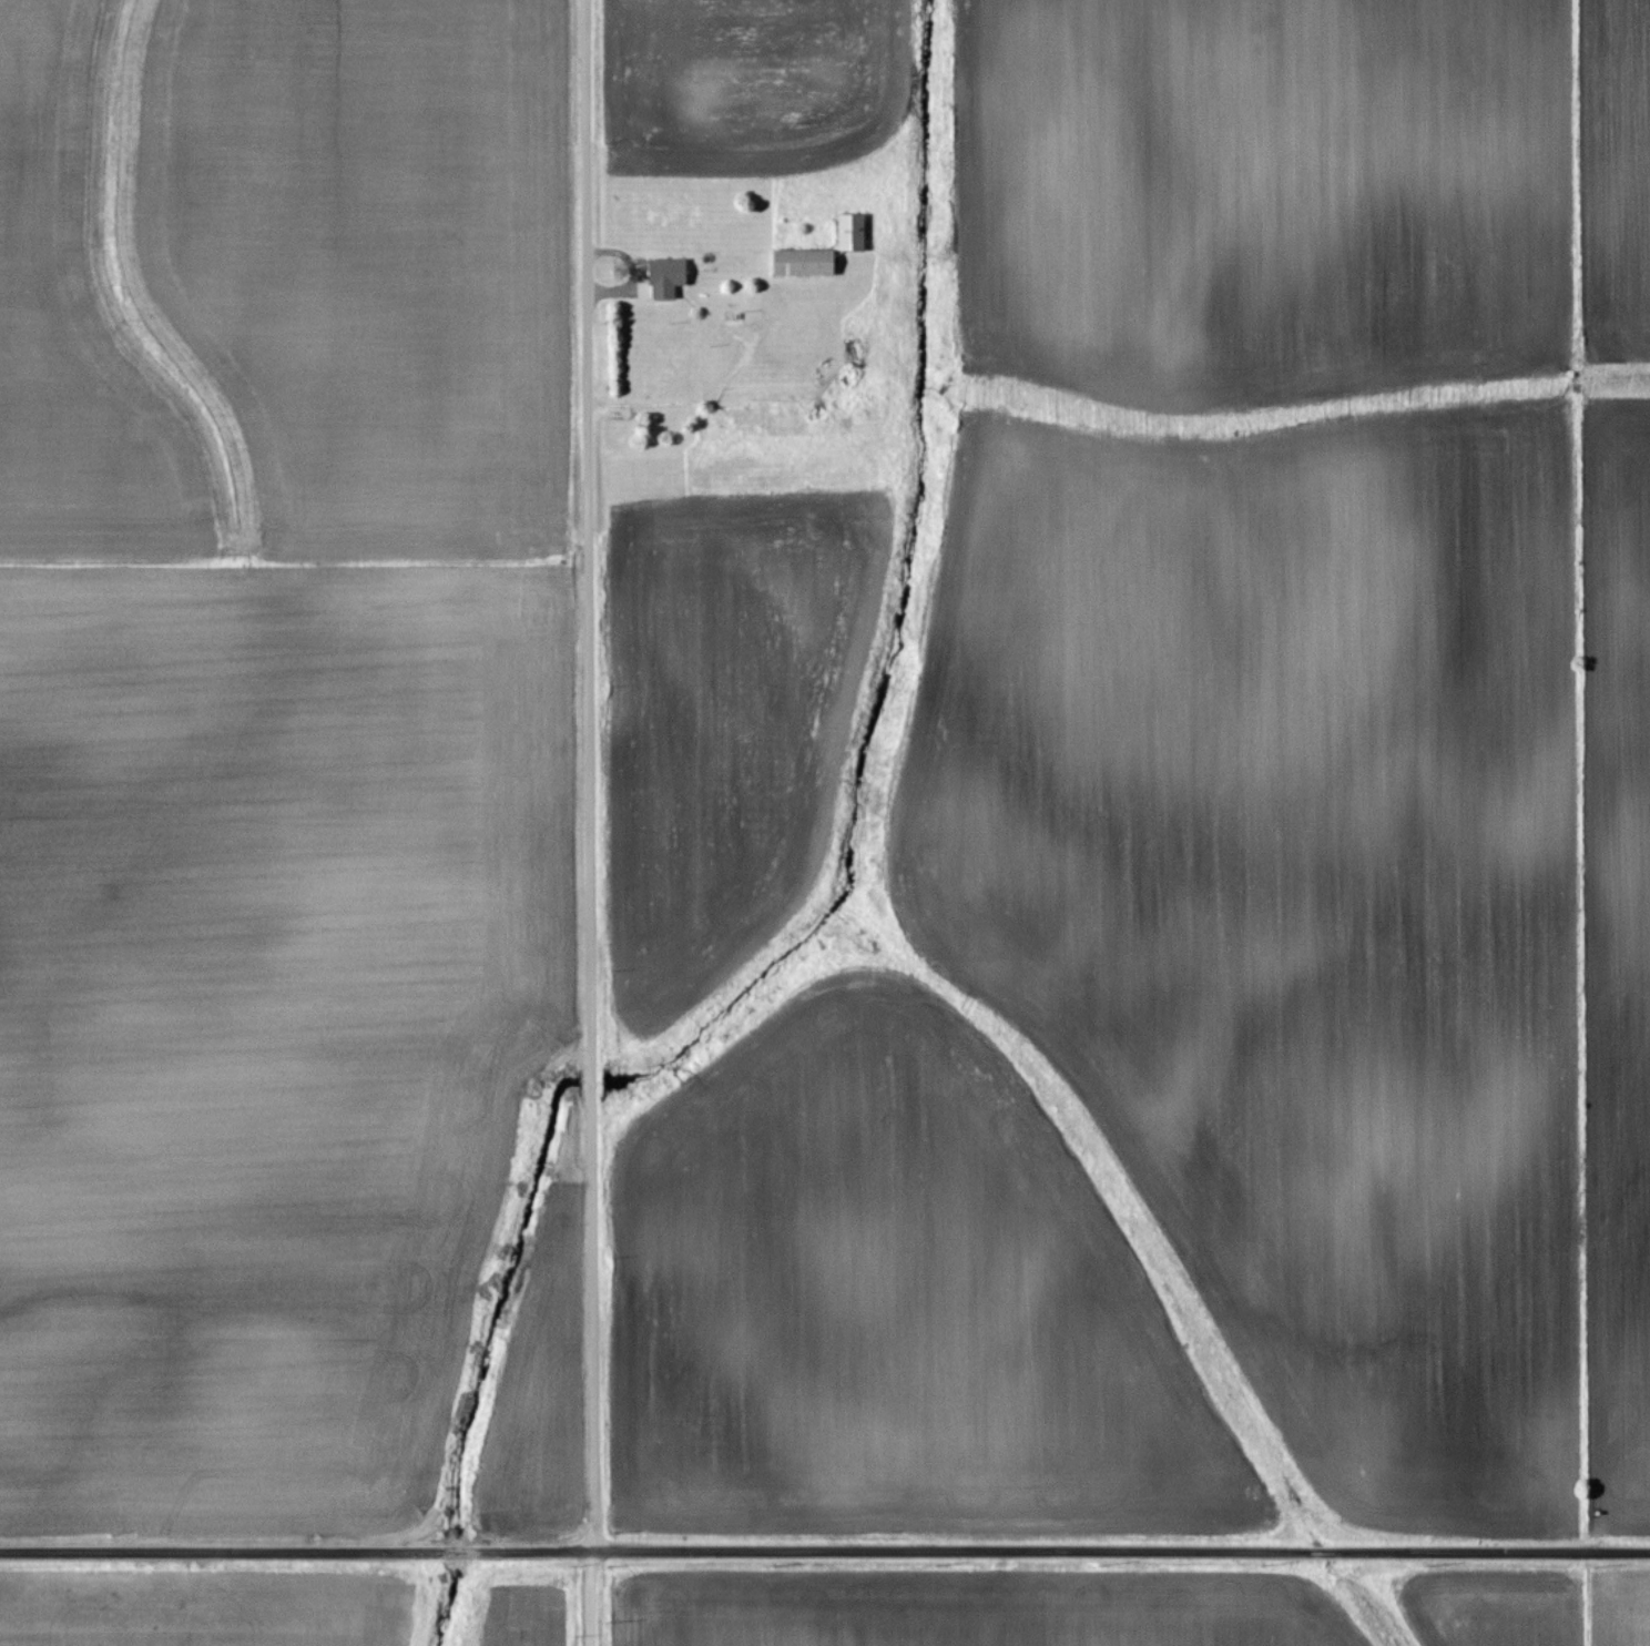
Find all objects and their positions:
building: (664, 277)
road: (587, 822)
road: (824, 1551)

